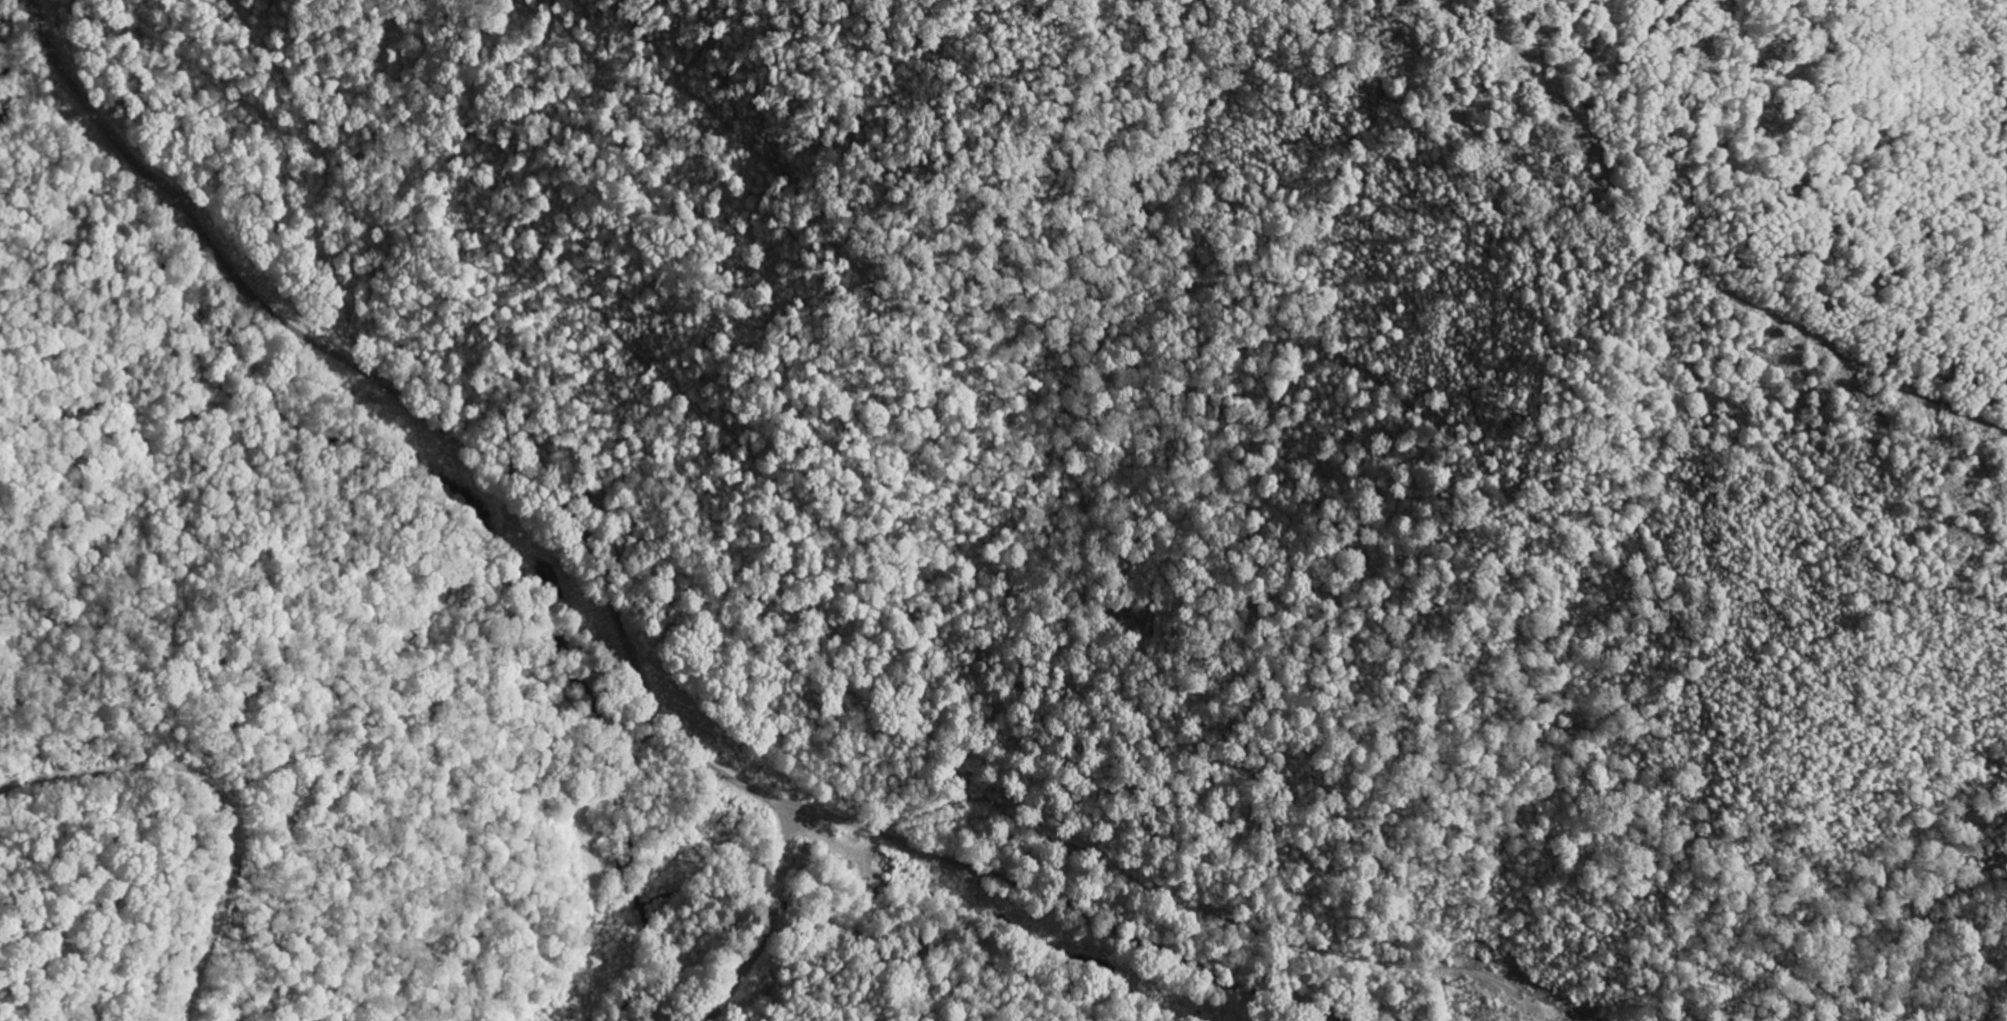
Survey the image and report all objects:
road: (412, 405)
road: (230, 787)
road: (842, 820)
road: (772, 916)
road: (1124, 933)

